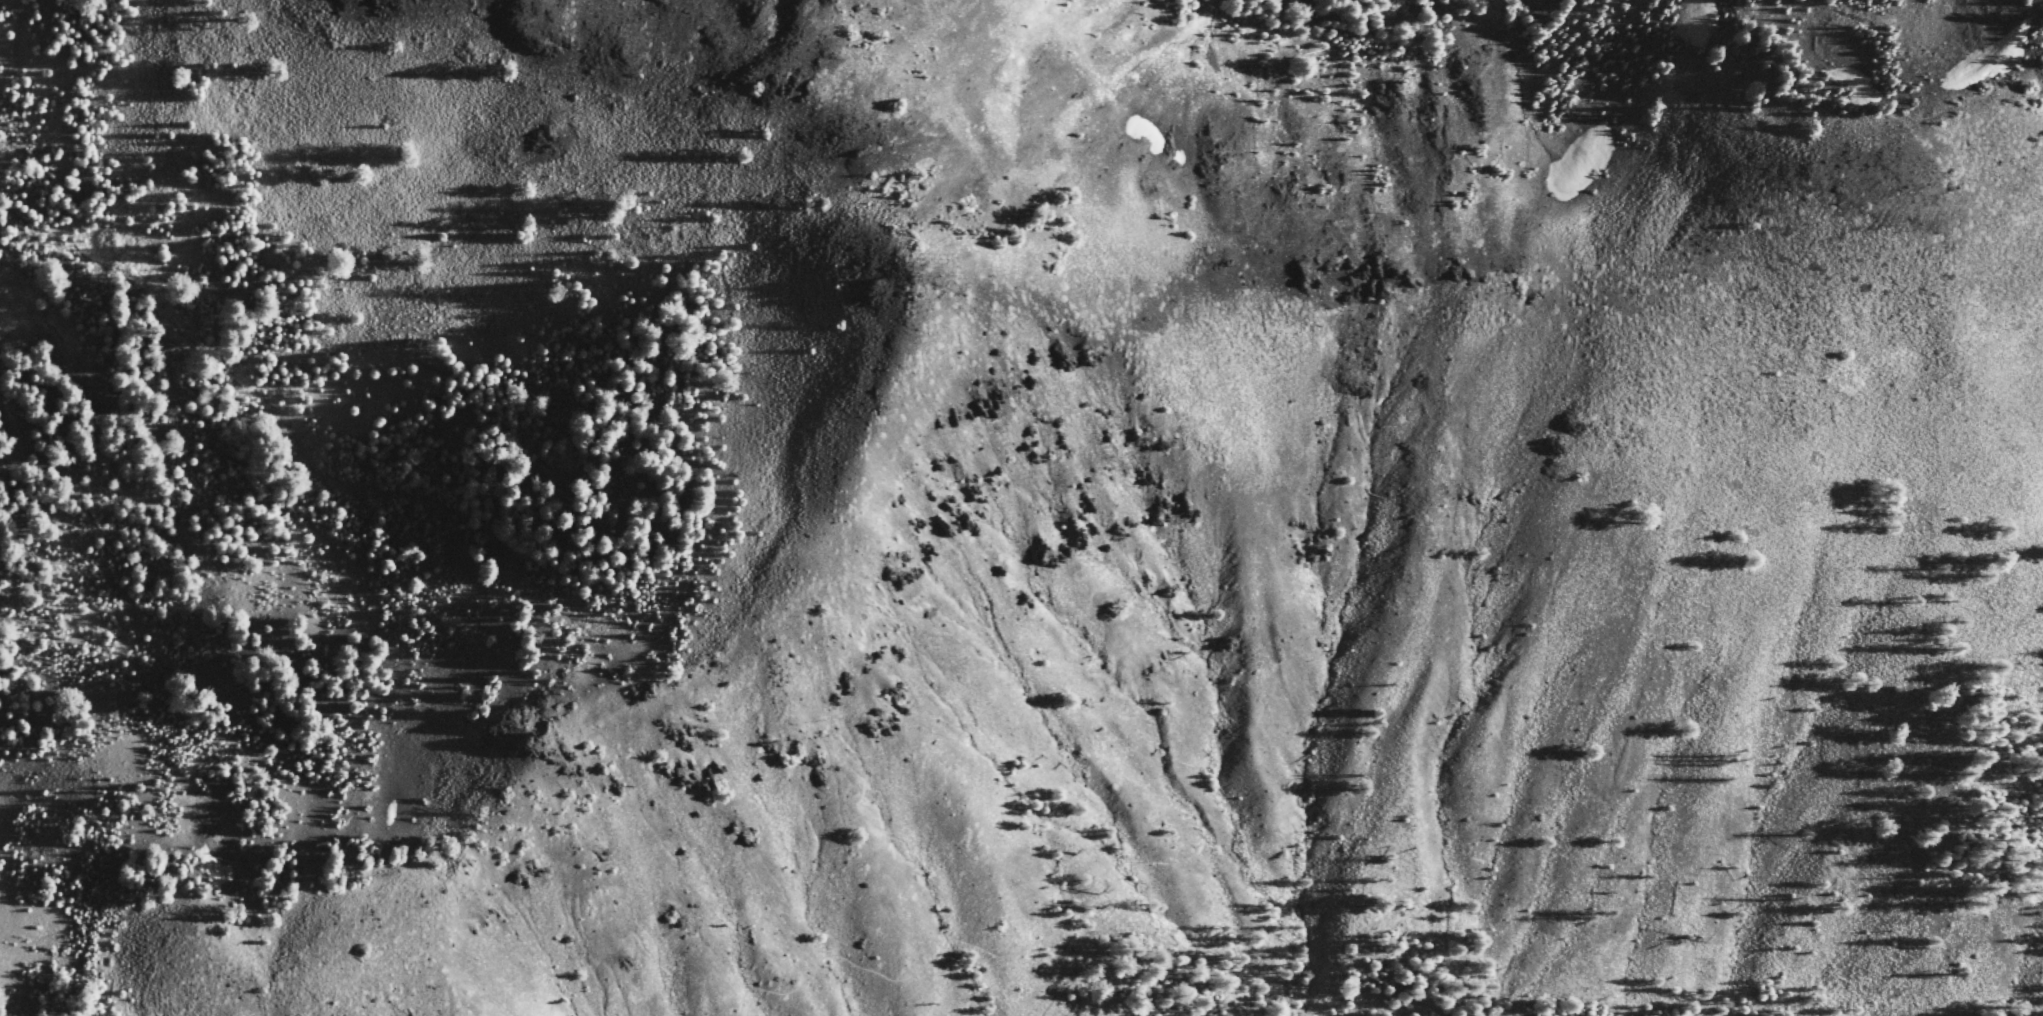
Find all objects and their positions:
road: (979, 947)

